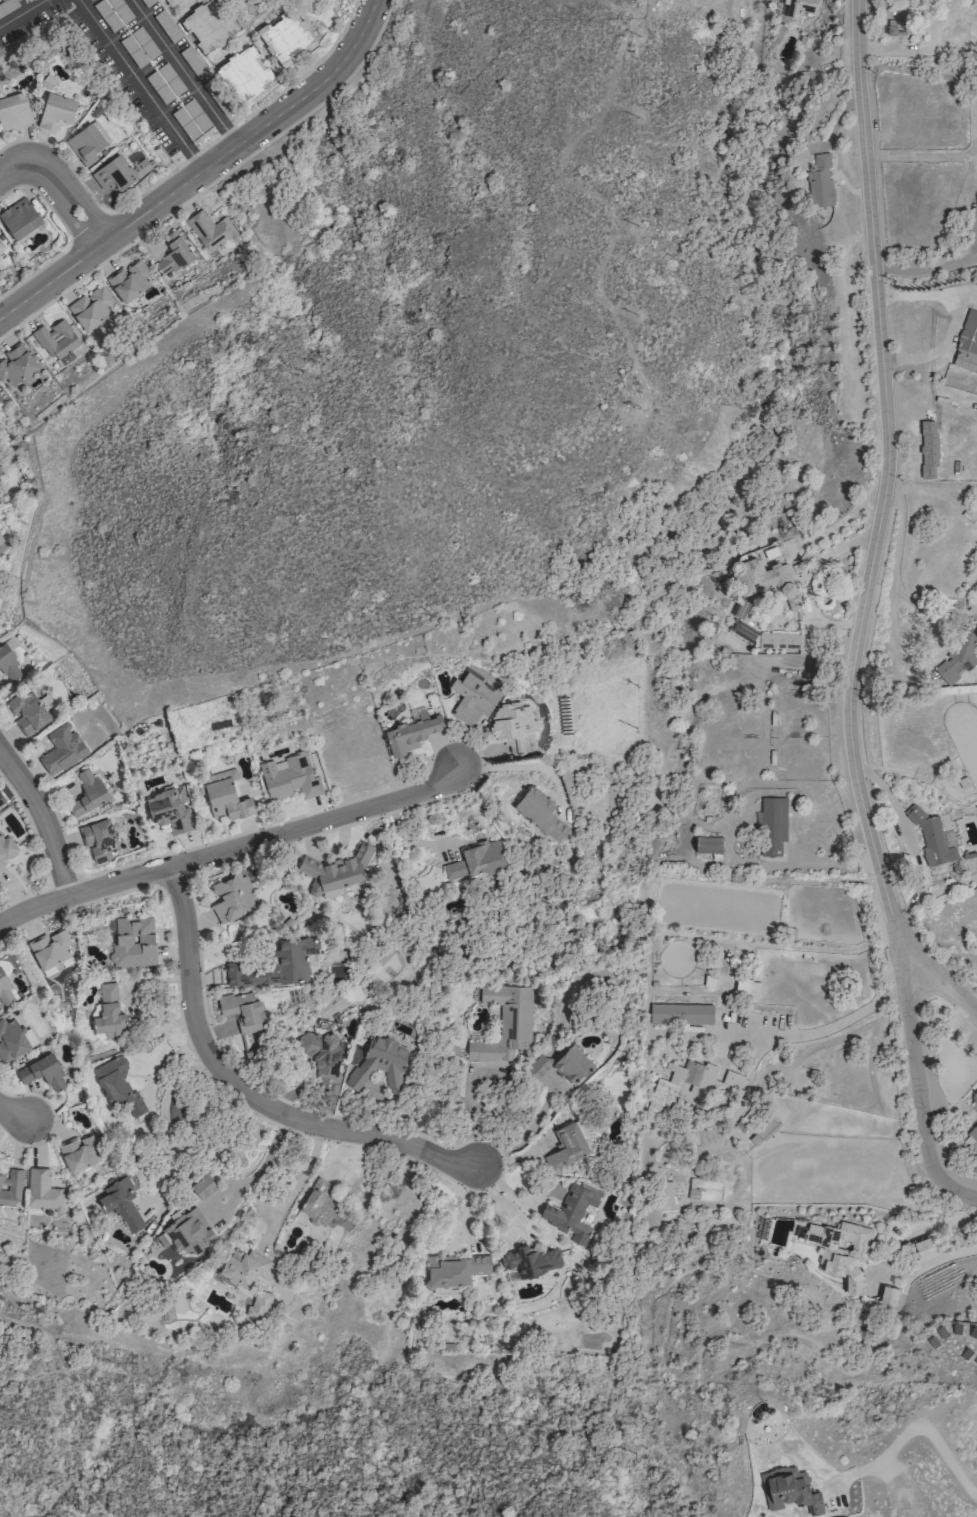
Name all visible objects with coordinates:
building: (929, 0)
building: (170, 2)
building: (800, 7)
road: (22, 13)
building: (209, 25)
building: (891, 27)
building: (286, 38)
road: (184, 71)
building: (244, 73)
road: (139, 84)
road: (313, 108)
building: (13, 112)
building: (56, 112)
road: (243, 118)
building: (86, 144)
road: (200, 169)
building: (116, 173)
building: (820, 183)
road: (57, 187)
building: (19, 217)
road: (89, 227)
building: (209, 230)
building: (0, 250)
building: (172, 254)
road: (102, 261)
road: (938, 267)
road: (36, 269)
building: (130, 280)
building: (92, 308)
road: (951, 320)
building: (52, 341)
building: (967, 343)
building: (16, 365)
building: (928, 449)
building: (0, 539)
building: (766, 578)
road: (860, 616)
road: (891, 634)
building: (955, 658)
building: (9, 665)
building: (471, 698)
building: (26, 712)
building: (509, 725)
building: (410, 734)
building: (61, 749)
road: (527, 766)
building: (289, 777)
building: (87, 793)
building: (226, 796)
building: (1, 801)
building: (168, 810)
building: (539, 812)
road: (43, 818)
building: (772, 825)
building: (99, 839)
building: (708, 844)
building: (7, 849)
road: (232, 851)
building: (475, 859)
building: (335, 870)
building: (231, 897)
building: (133, 942)
building: (50, 948)
building: (293, 958)
road: (932, 969)
building: (5, 989)
building: (109, 1012)
building: (242, 1014)
building: (504, 1023)
road: (819, 1030)
building: (11, 1040)
building: (322, 1057)
building: (379, 1063)
building: (562, 1063)
building: (42, 1071)
building: (117, 1084)
building: (666, 1087)
road: (249, 1093)
building: (973, 1104)
road: (11, 1113)
road: (168, 1127)
road: (529, 1130)
building: (764, 1130)
building: (974, 1131)
building: (566, 1145)
building: (80, 1152)
road: (261, 1165)
building: (202, 1186)
road: (294, 1186)
building: (10, 1188)
building: (42, 1191)
building: (664, 1192)
building: (317, 1202)
building: (120, 1203)
road: (501, 1203)
building: (571, 1212)
building: (187, 1231)
building: (923, 1248)
building: (841, 1250)
building: (530, 1260)
building: (243, 1267)
building: (454, 1270)
building: (888, 1294)
building: (260, 1304)
road: (916, 1429)
building: (788, 1489)

